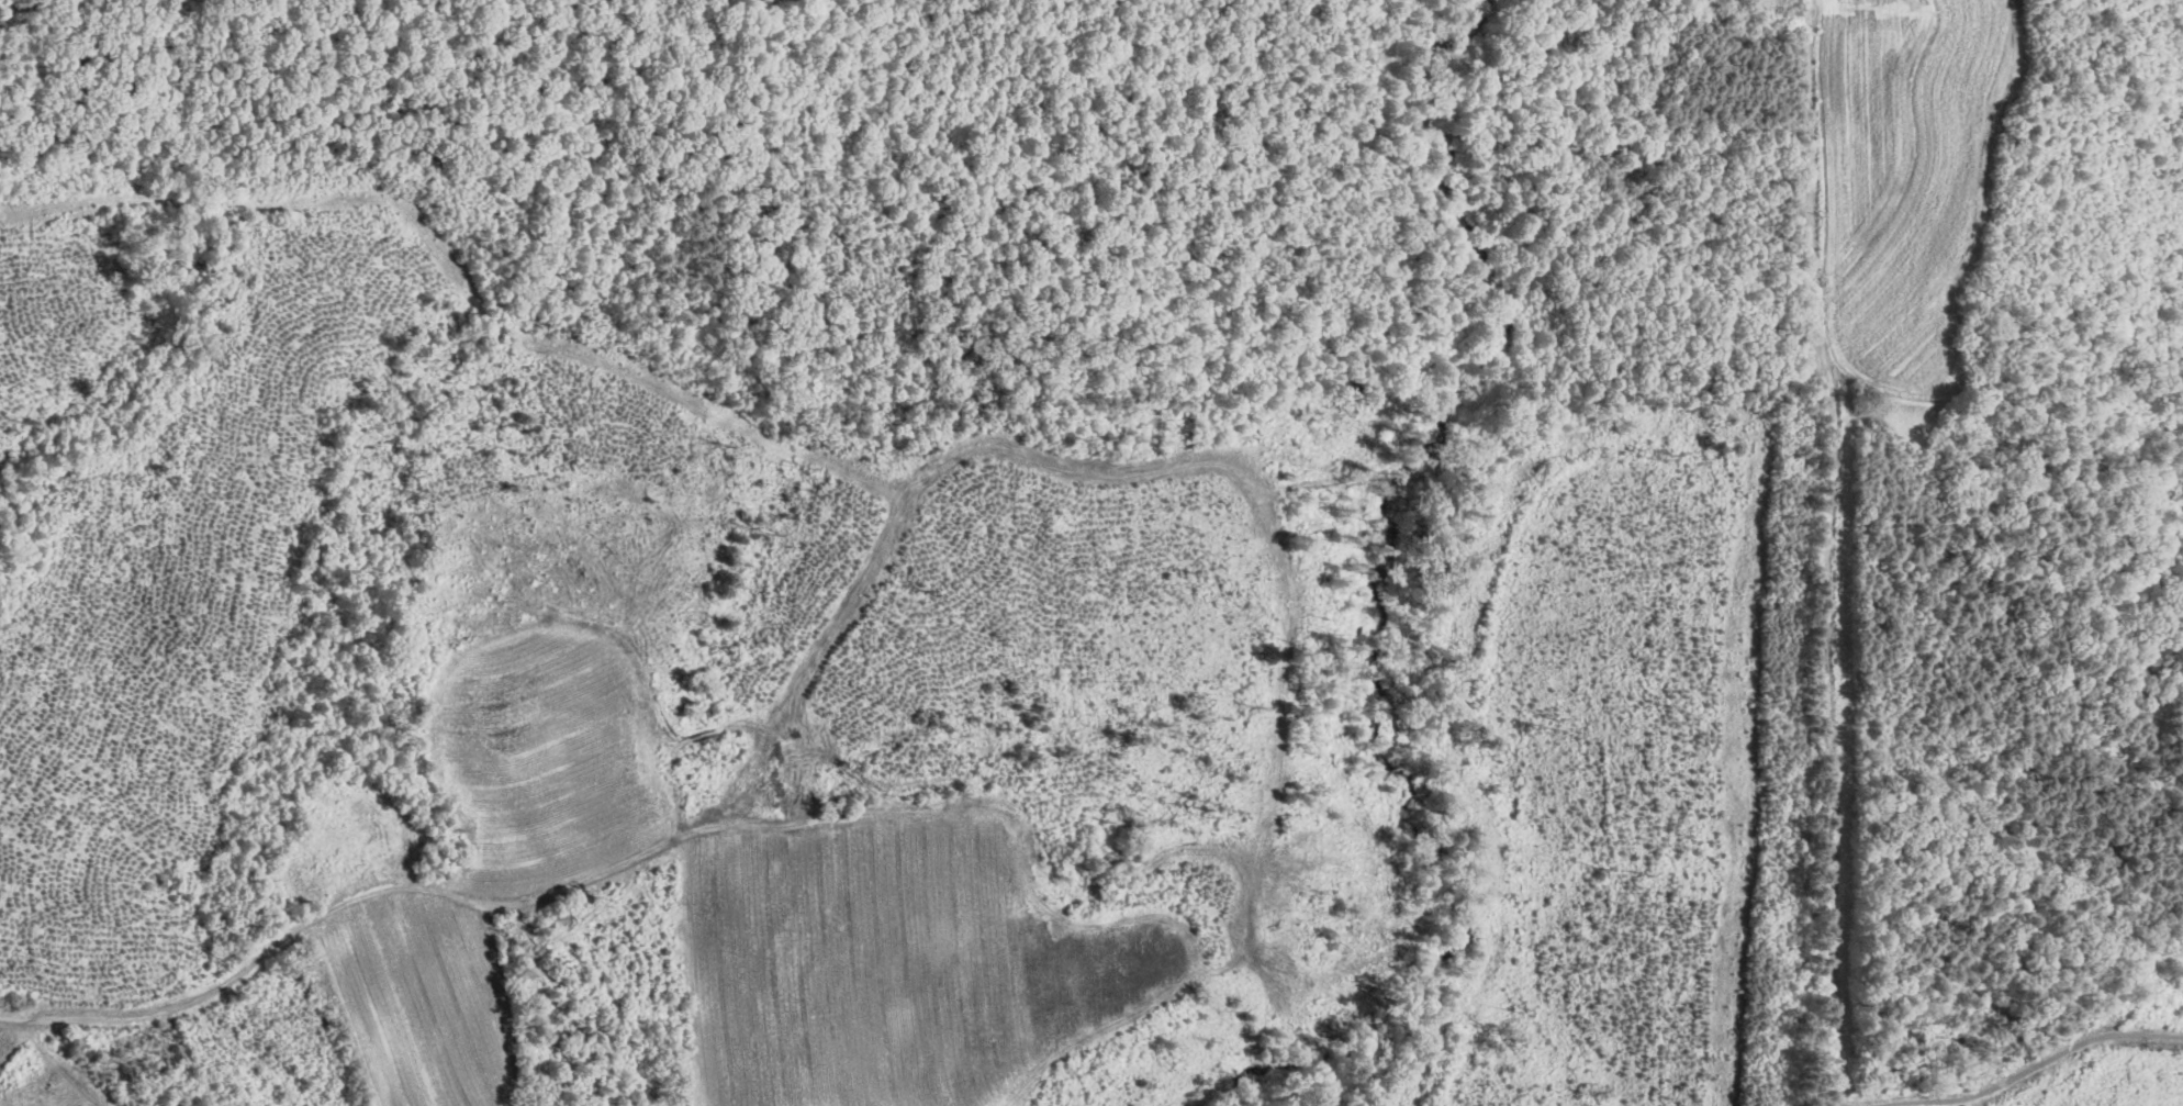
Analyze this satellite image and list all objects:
road: (1835, 551)
road: (2026, 1071)

